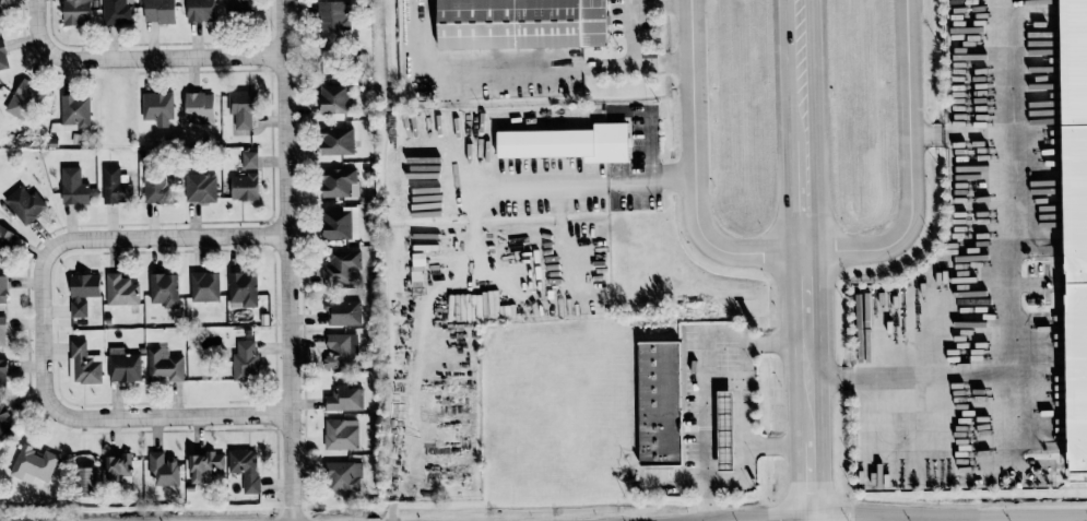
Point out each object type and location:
road: (630, 2)
building: (239, 5)
building: (200, 10)
building: (78, 11)
building: (118, 11)
building: (158, 11)
building: (333, 15)
building: (0, 23)
building: (521, 23)
road: (40, 40)
road: (178, 54)
building: (2, 56)
road: (664, 63)
road: (488, 69)
road: (802, 70)
building: (24, 96)
building: (157, 107)
building: (199, 107)
building: (241, 108)
building: (75, 111)
road: (957, 132)
building: (336, 140)
building: (567, 142)
building: (249, 158)
building: (338, 181)
road: (583, 183)
building: (115, 186)
building: (244, 186)
building: (73, 187)
building: (157, 187)
building: (200, 187)
road: (805, 196)
building: (25, 203)
building: (1075, 218)
building: (340, 223)
building: (5, 239)
road: (119, 239)
road: (802, 251)
road: (286, 260)
building: (342, 267)
building: (204, 285)
road: (1005, 285)
building: (2, 288)
building: (164, 288)
building: (243, 288)
building: (121, 289)
building: (83, 292)
road: (807, 298)
building: (343, 312)
building: (2, 330)
building: (341, 348)
building: (245, 360)
building: (85, 363)
building: (164, 365)
building: (123, 367)
building: (3, 372)
road: (707, 379)
road: (808, 386)
building: (344, 398)
building: (659, 403)
road: (134, 418)
building: (3, 422)
road: (745, 424)
building: (724, 430)
building: (341, 433)
building: (33, 463)
road: (956, 463)
building: (205, 465)
building: (117, 466)
building: (164, 467)
building: (245, 467)
road: (811, 471)
building: (344, 475)
road: (739, 475)
building: (85, 481)
road: (866, 516)
road: (813, 519)

